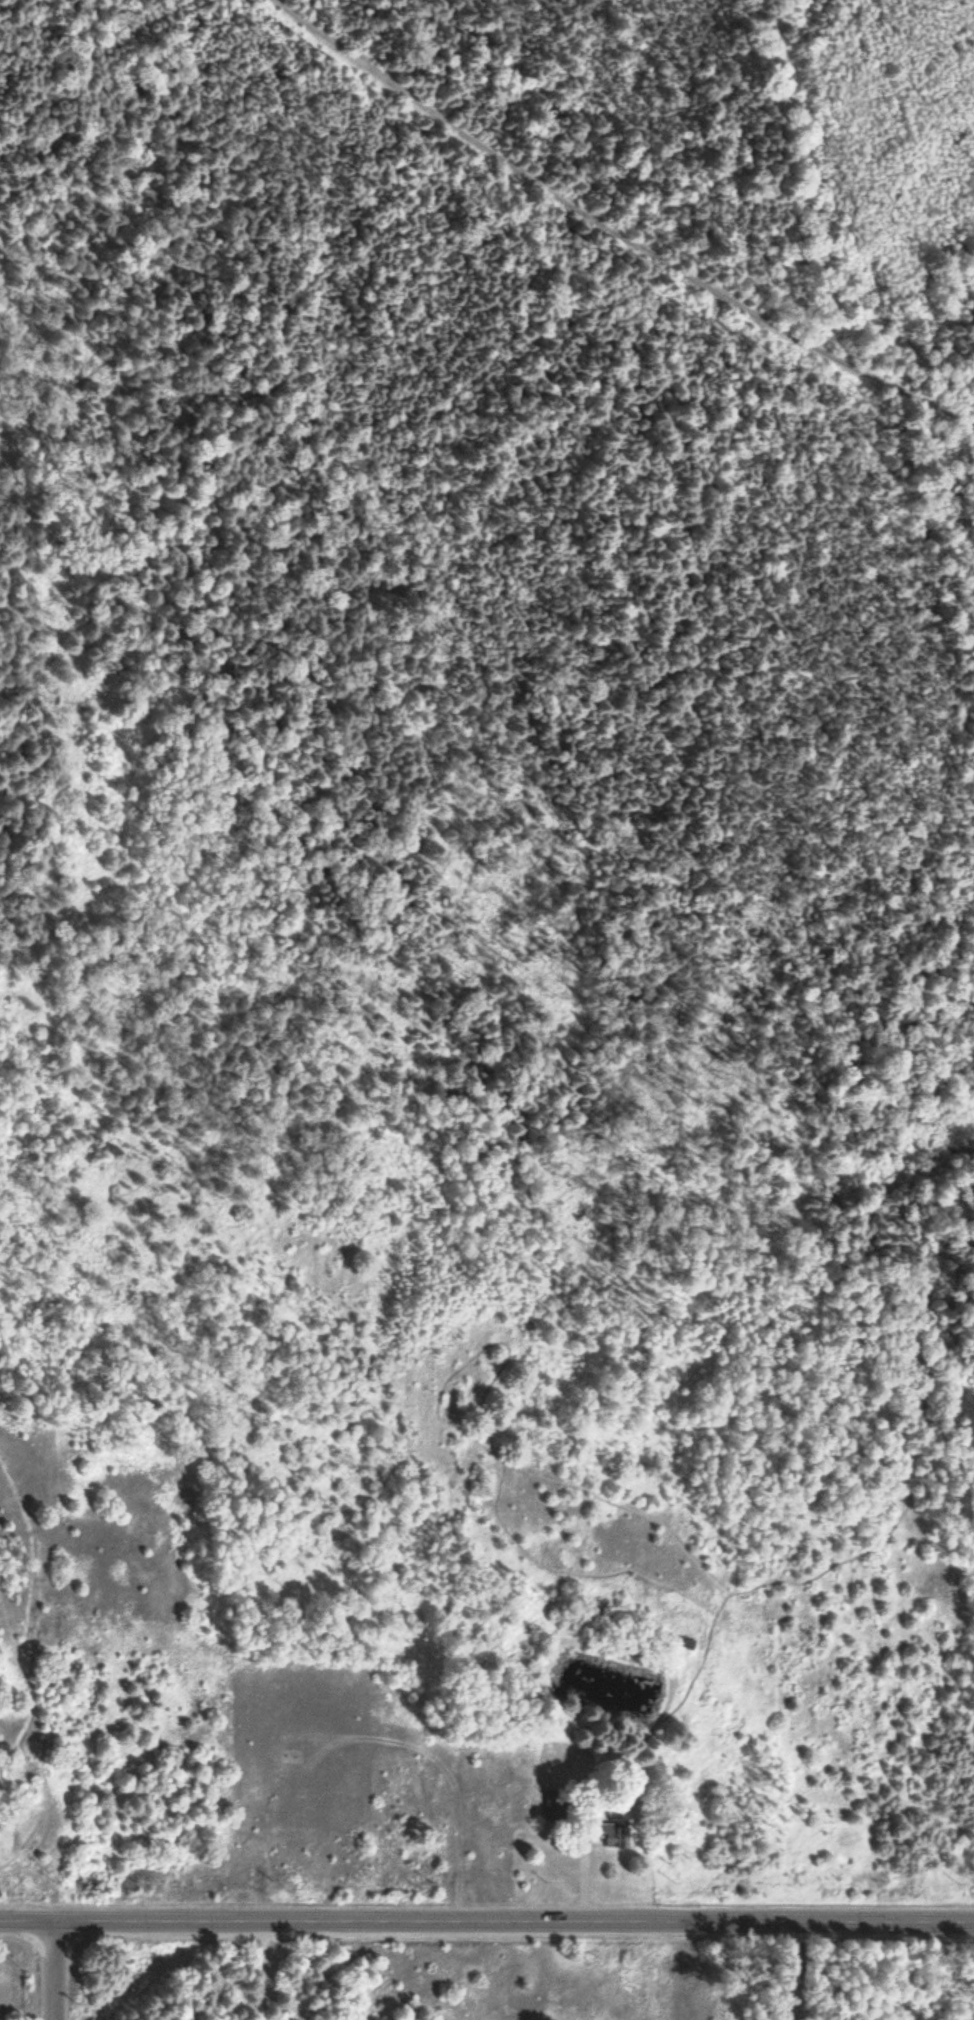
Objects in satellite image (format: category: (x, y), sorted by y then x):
building: (688, 1643)
building: (556, 1806)
building: (615, 1833)
road: (486, 1921)
road: (53, 1970)

